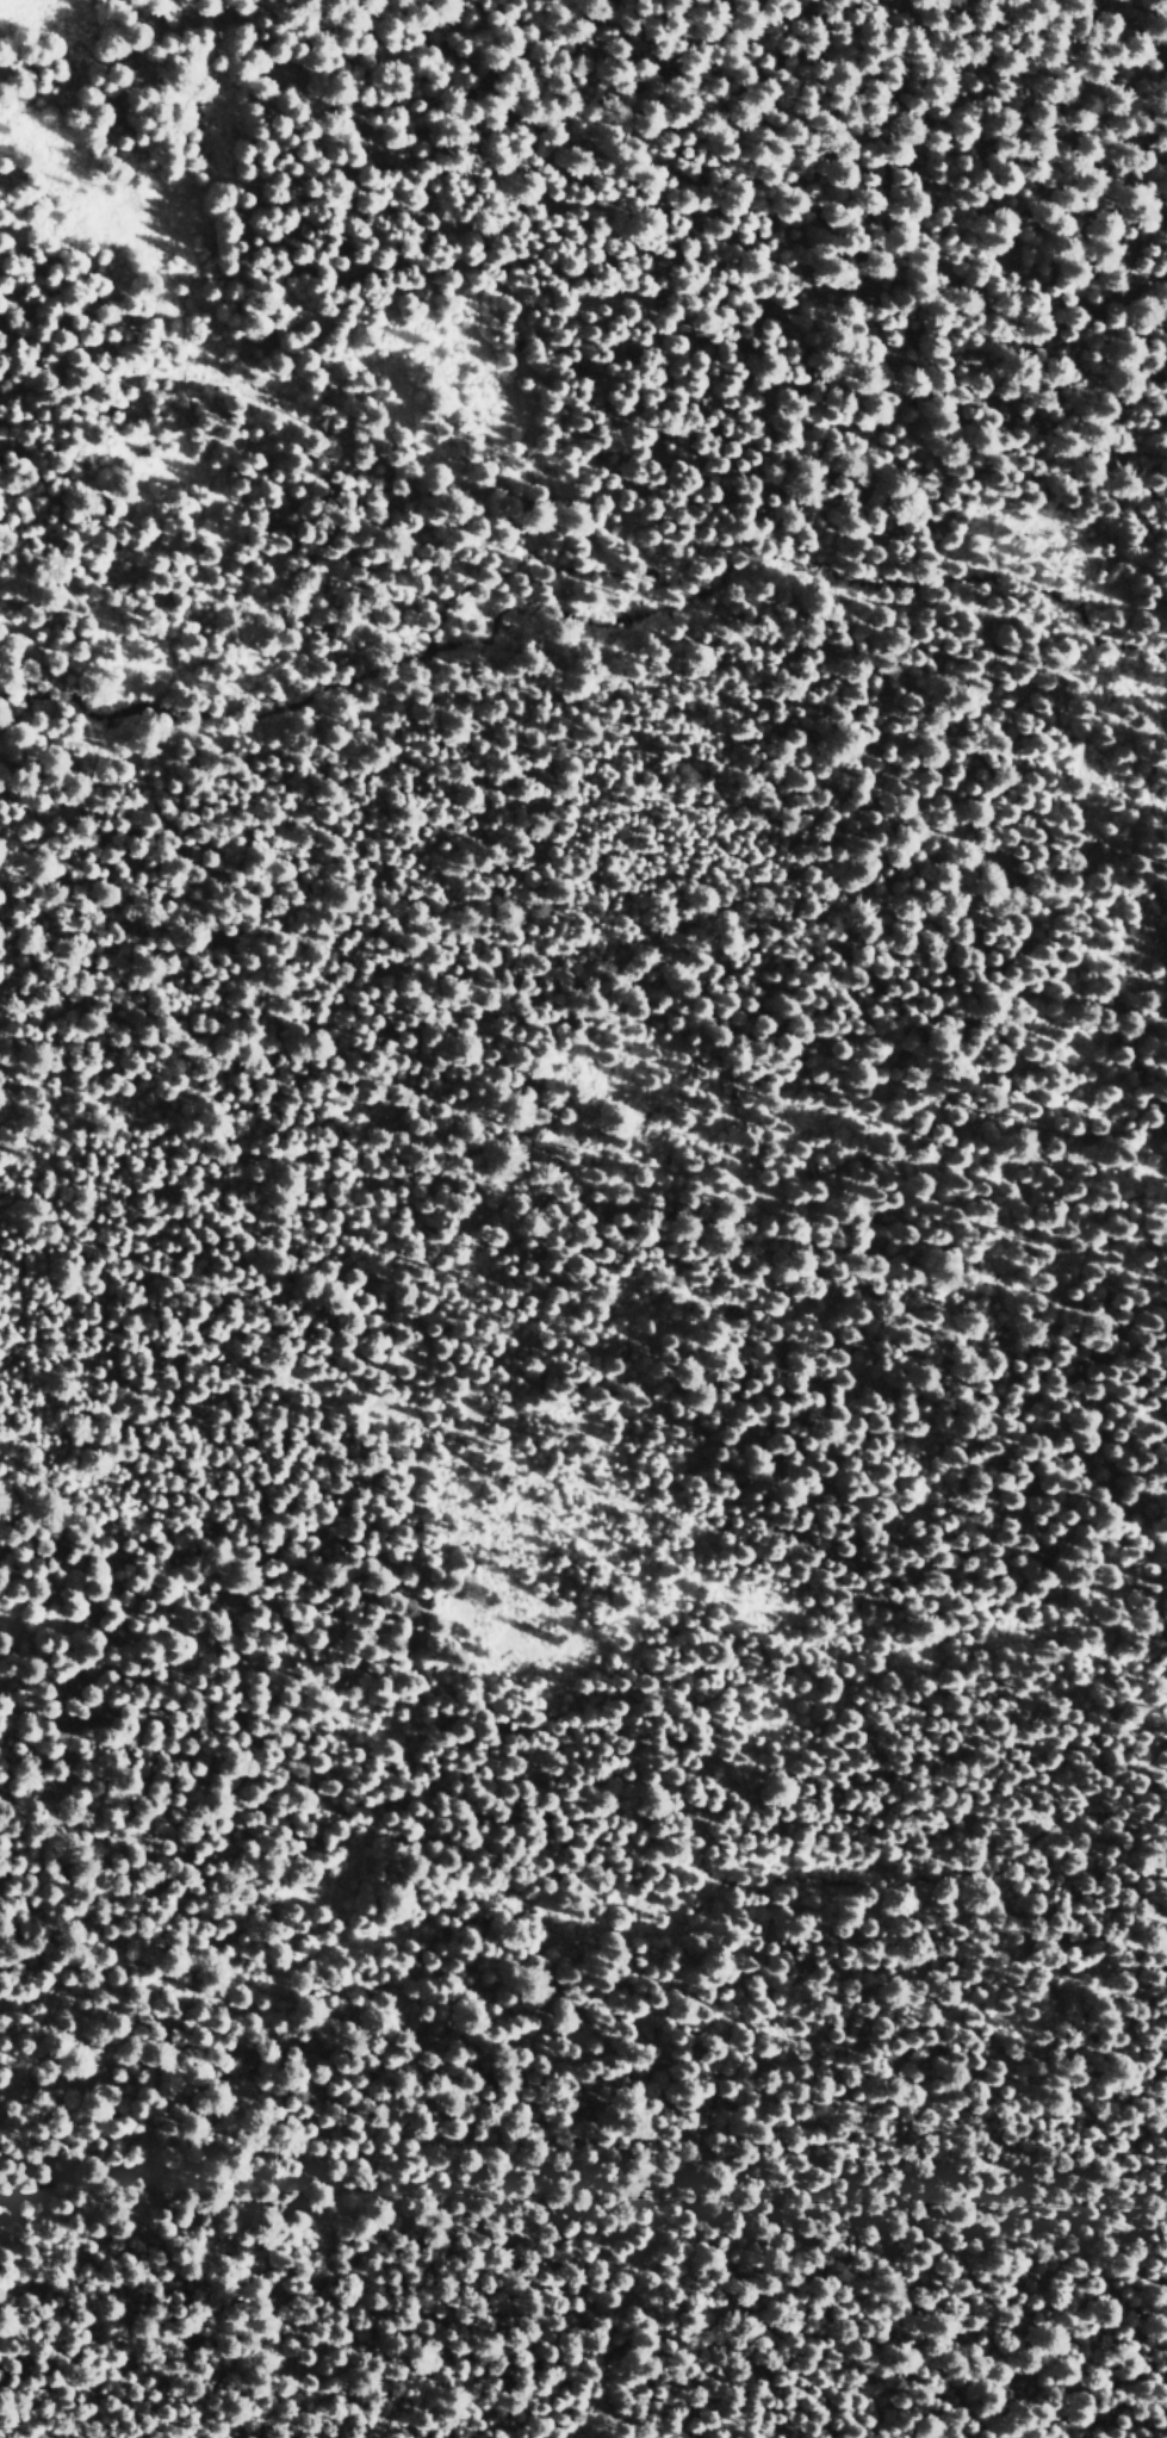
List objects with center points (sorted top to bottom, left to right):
road: (533, 773)

